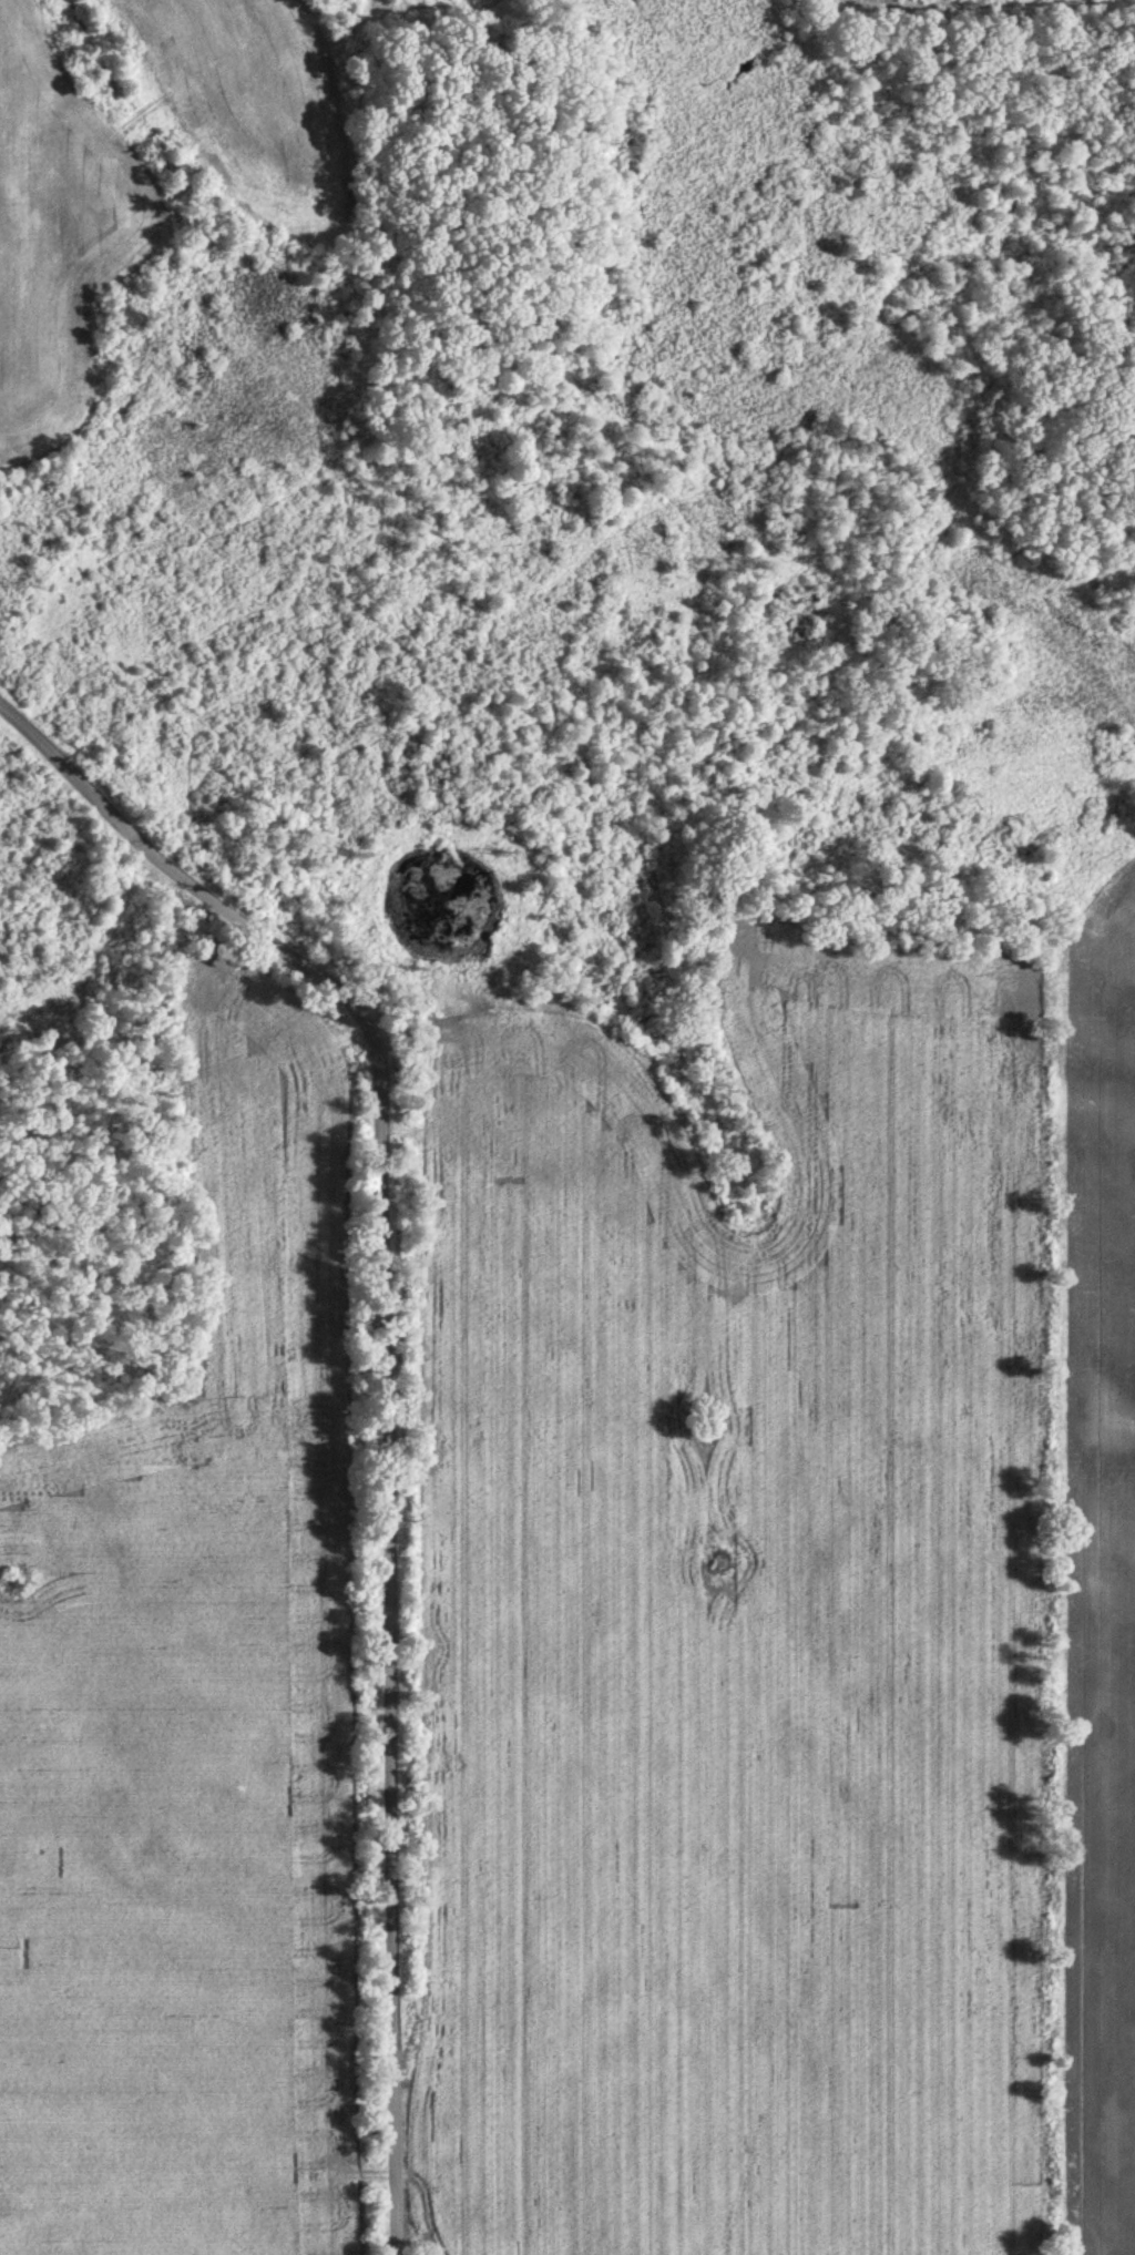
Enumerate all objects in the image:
road: (387, 1392)

